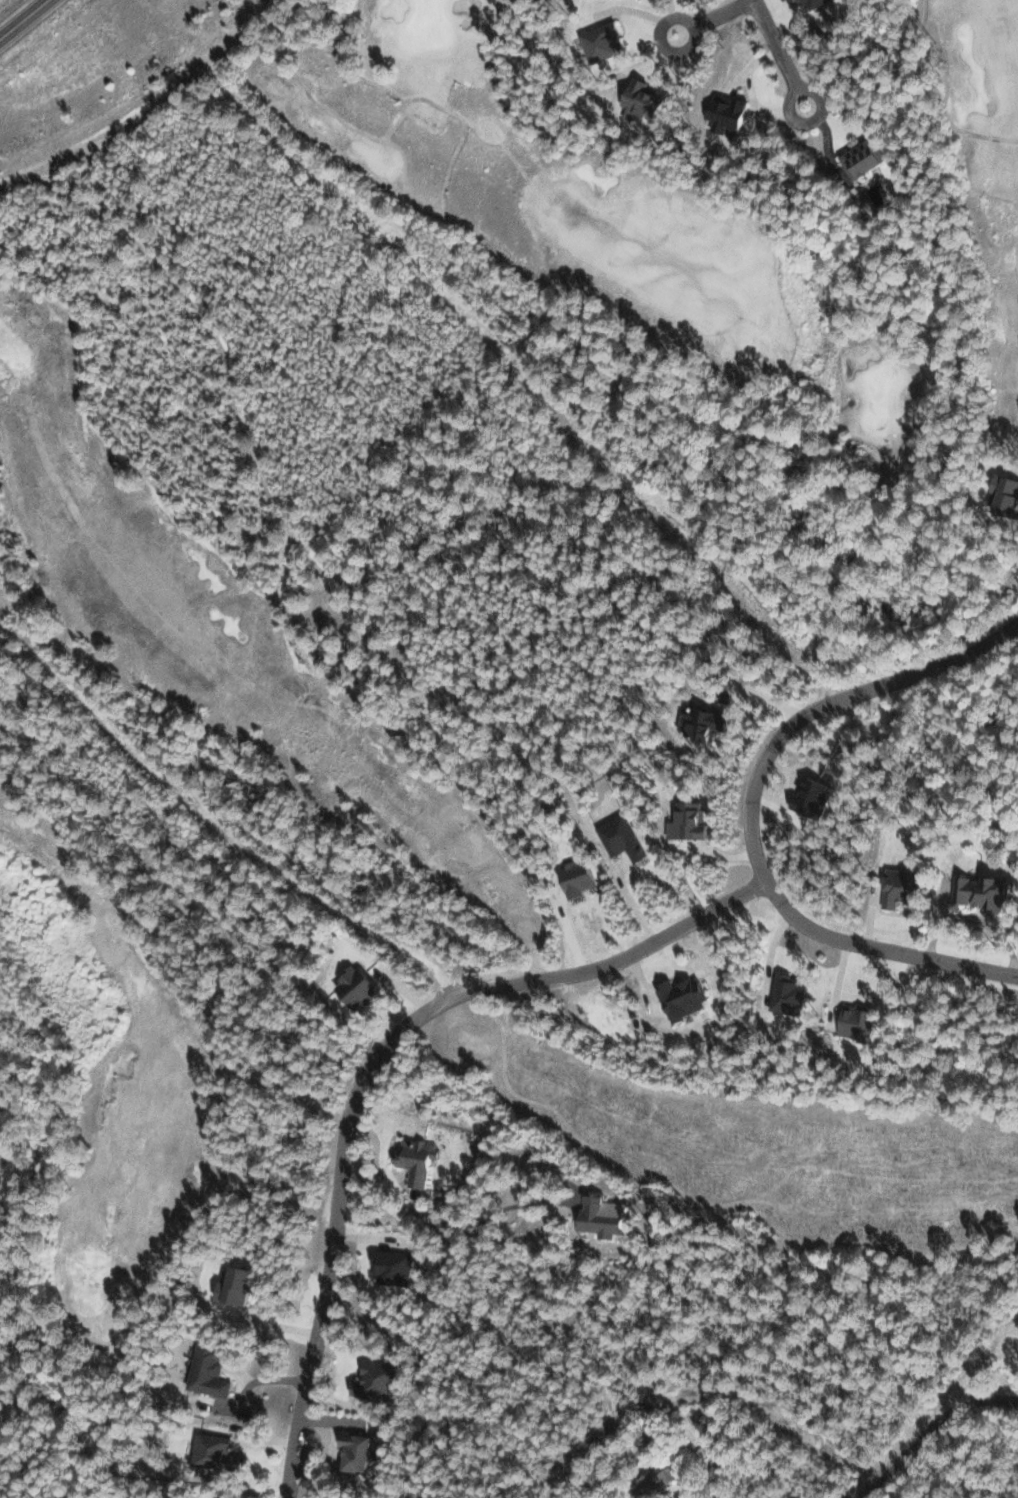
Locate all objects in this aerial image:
airport: (3, 2)
building: (817, 2)
road: (719, 12)
road: (20, 15)
road: (691, 24)
building: (605, 41)
road: (775, 44)
road: (796, 87)
building: (645, 98)
building: (731, 111)
building: (867, 157)
building: (1009, 493)
park: (220, 675)
building: (708, 723)
road: (748, 812)
building: (695, 822)
building: (625, 838)
road: (242, 839)
building: (581, 878)
building: (905, 886)
building: (362, 986)
building: (791, 995)
building: (687, 998)
building: (860, 1024)
road: (371, 1065)
building: (421, 1159)
building: (608, 1214)
road: (477, 1217)
building: (395, 1266)
building: (240, 1284)
building: (212, 1369)
building: (377, 1379)
road: (710, 1395)
road: (935, 1432)
building: (361, 1450)
building: (221, 1453)
building: (658, 1480)

